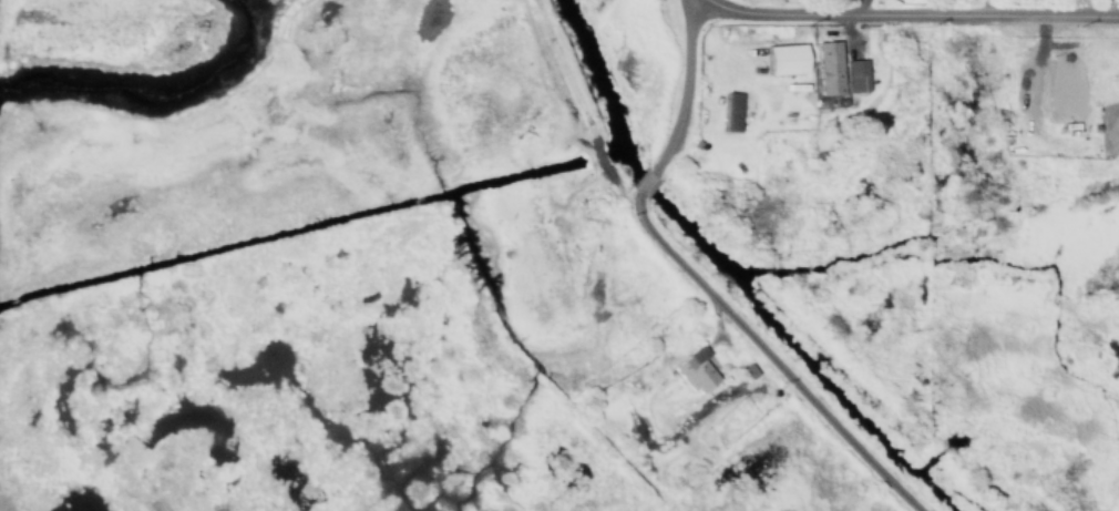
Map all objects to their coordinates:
road: (905, 16)
building: (783, 60)
building: (825, 69)
building: (854, 76)
road: (680, 90)
building: (728, 113)
road: (644, 185)
road: (766, 357)
building: (692, 372)

